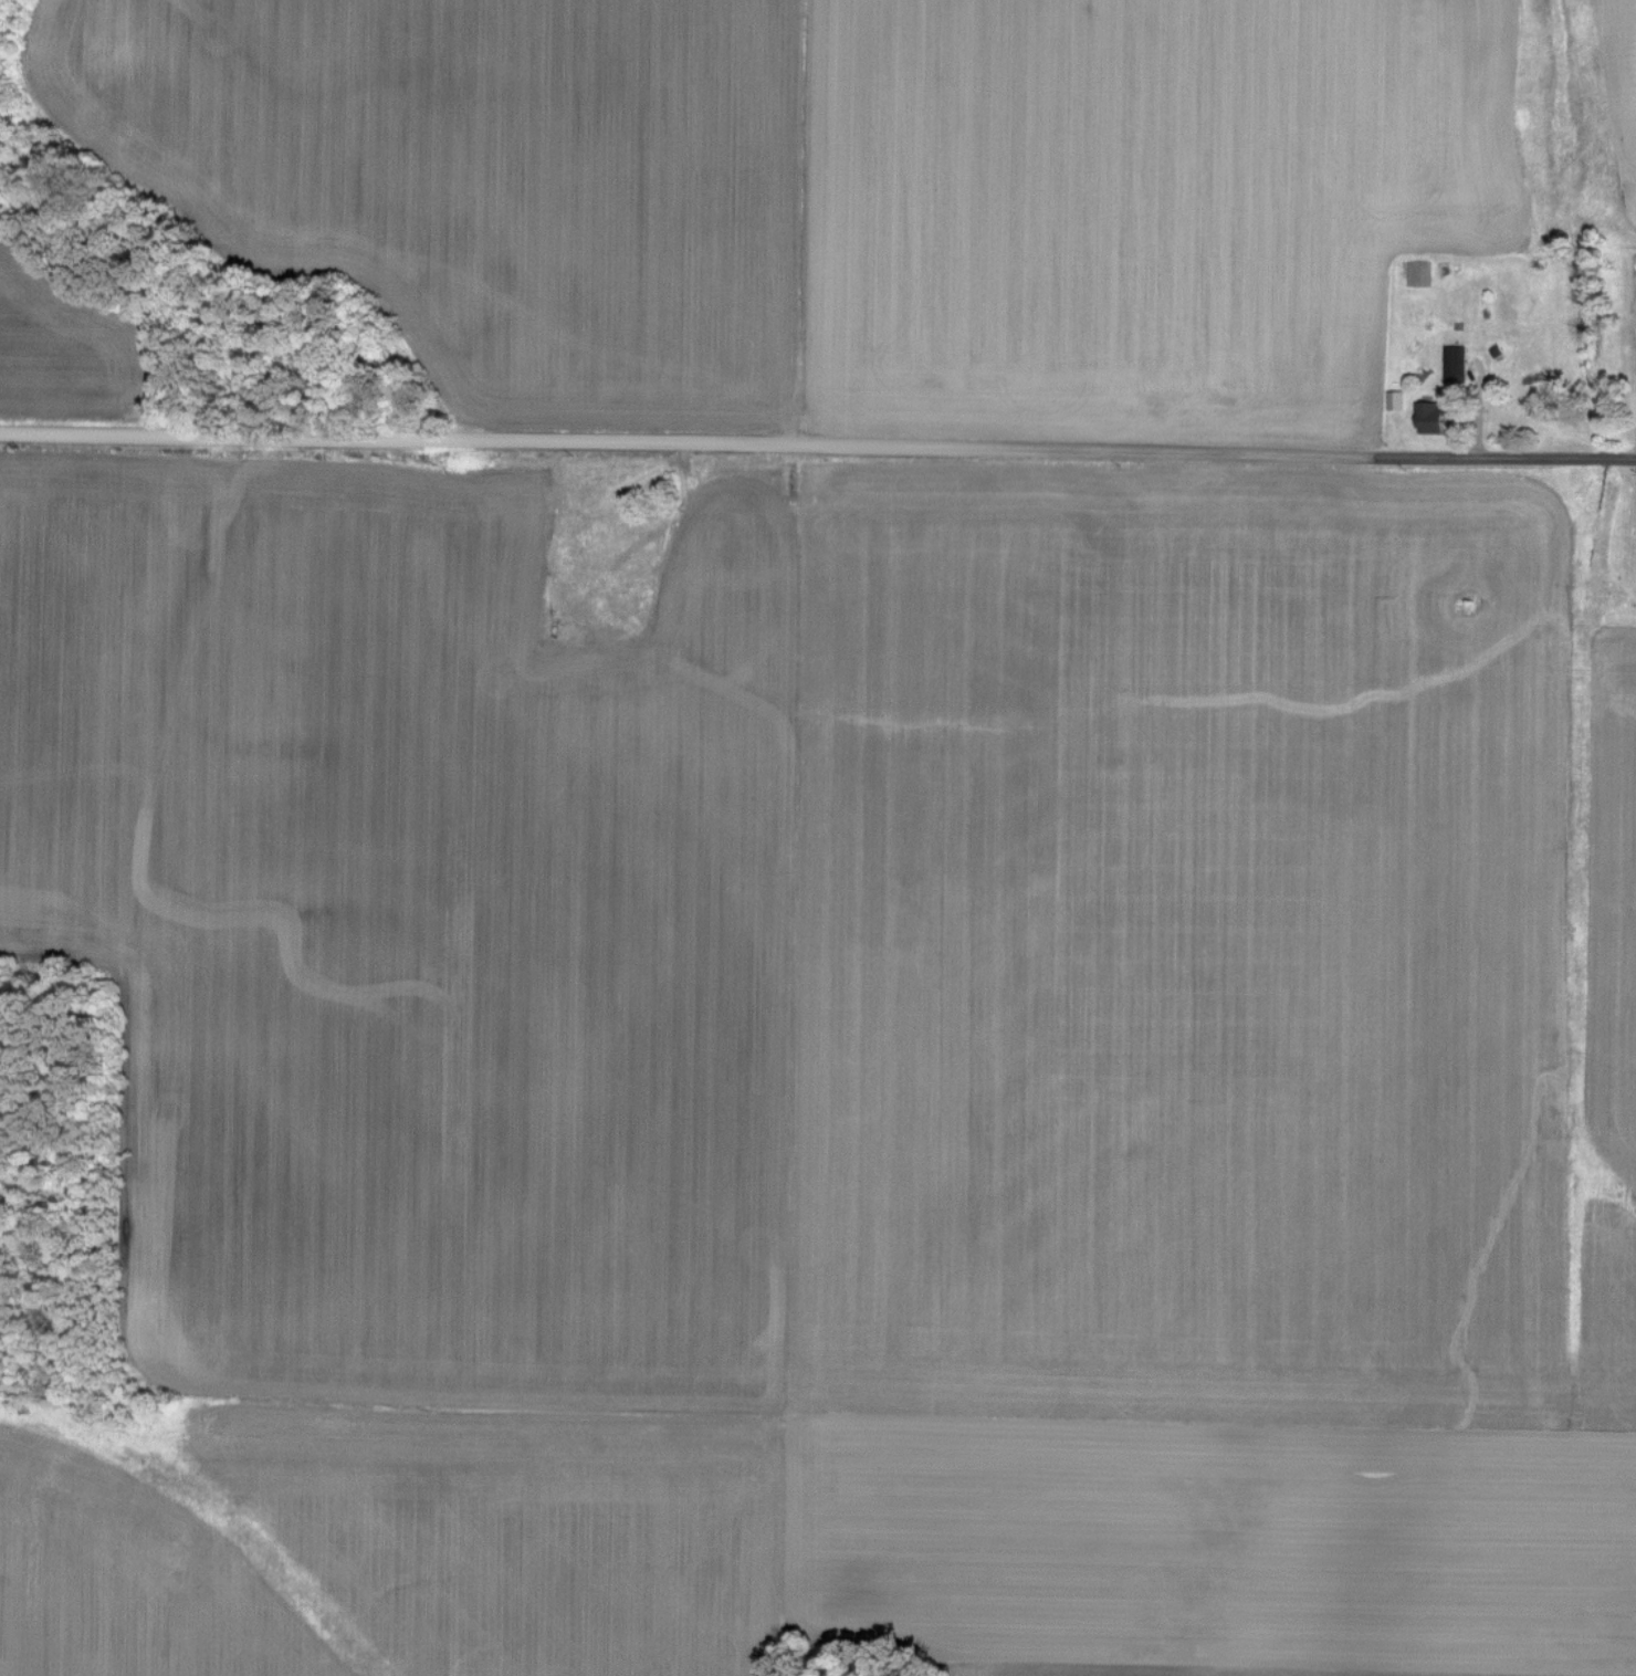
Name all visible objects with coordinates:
building: (1453, 363)
building: (1430, 413)
road: (818, 443)

